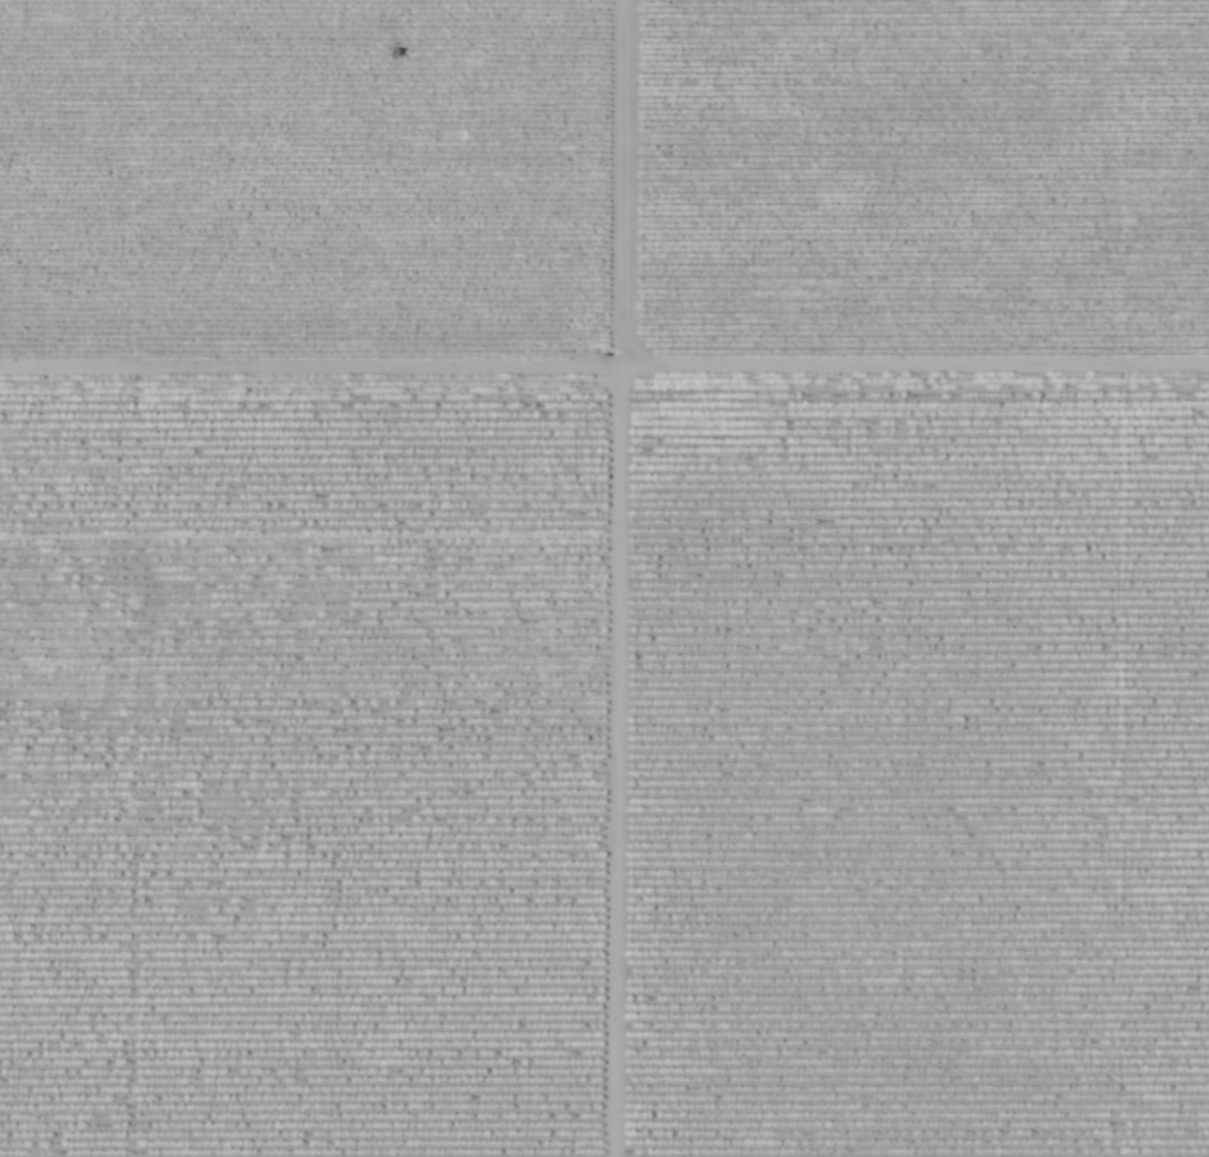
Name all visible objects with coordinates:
road: (604, 373)
road: (613, 578)
crop: (301, 767)

